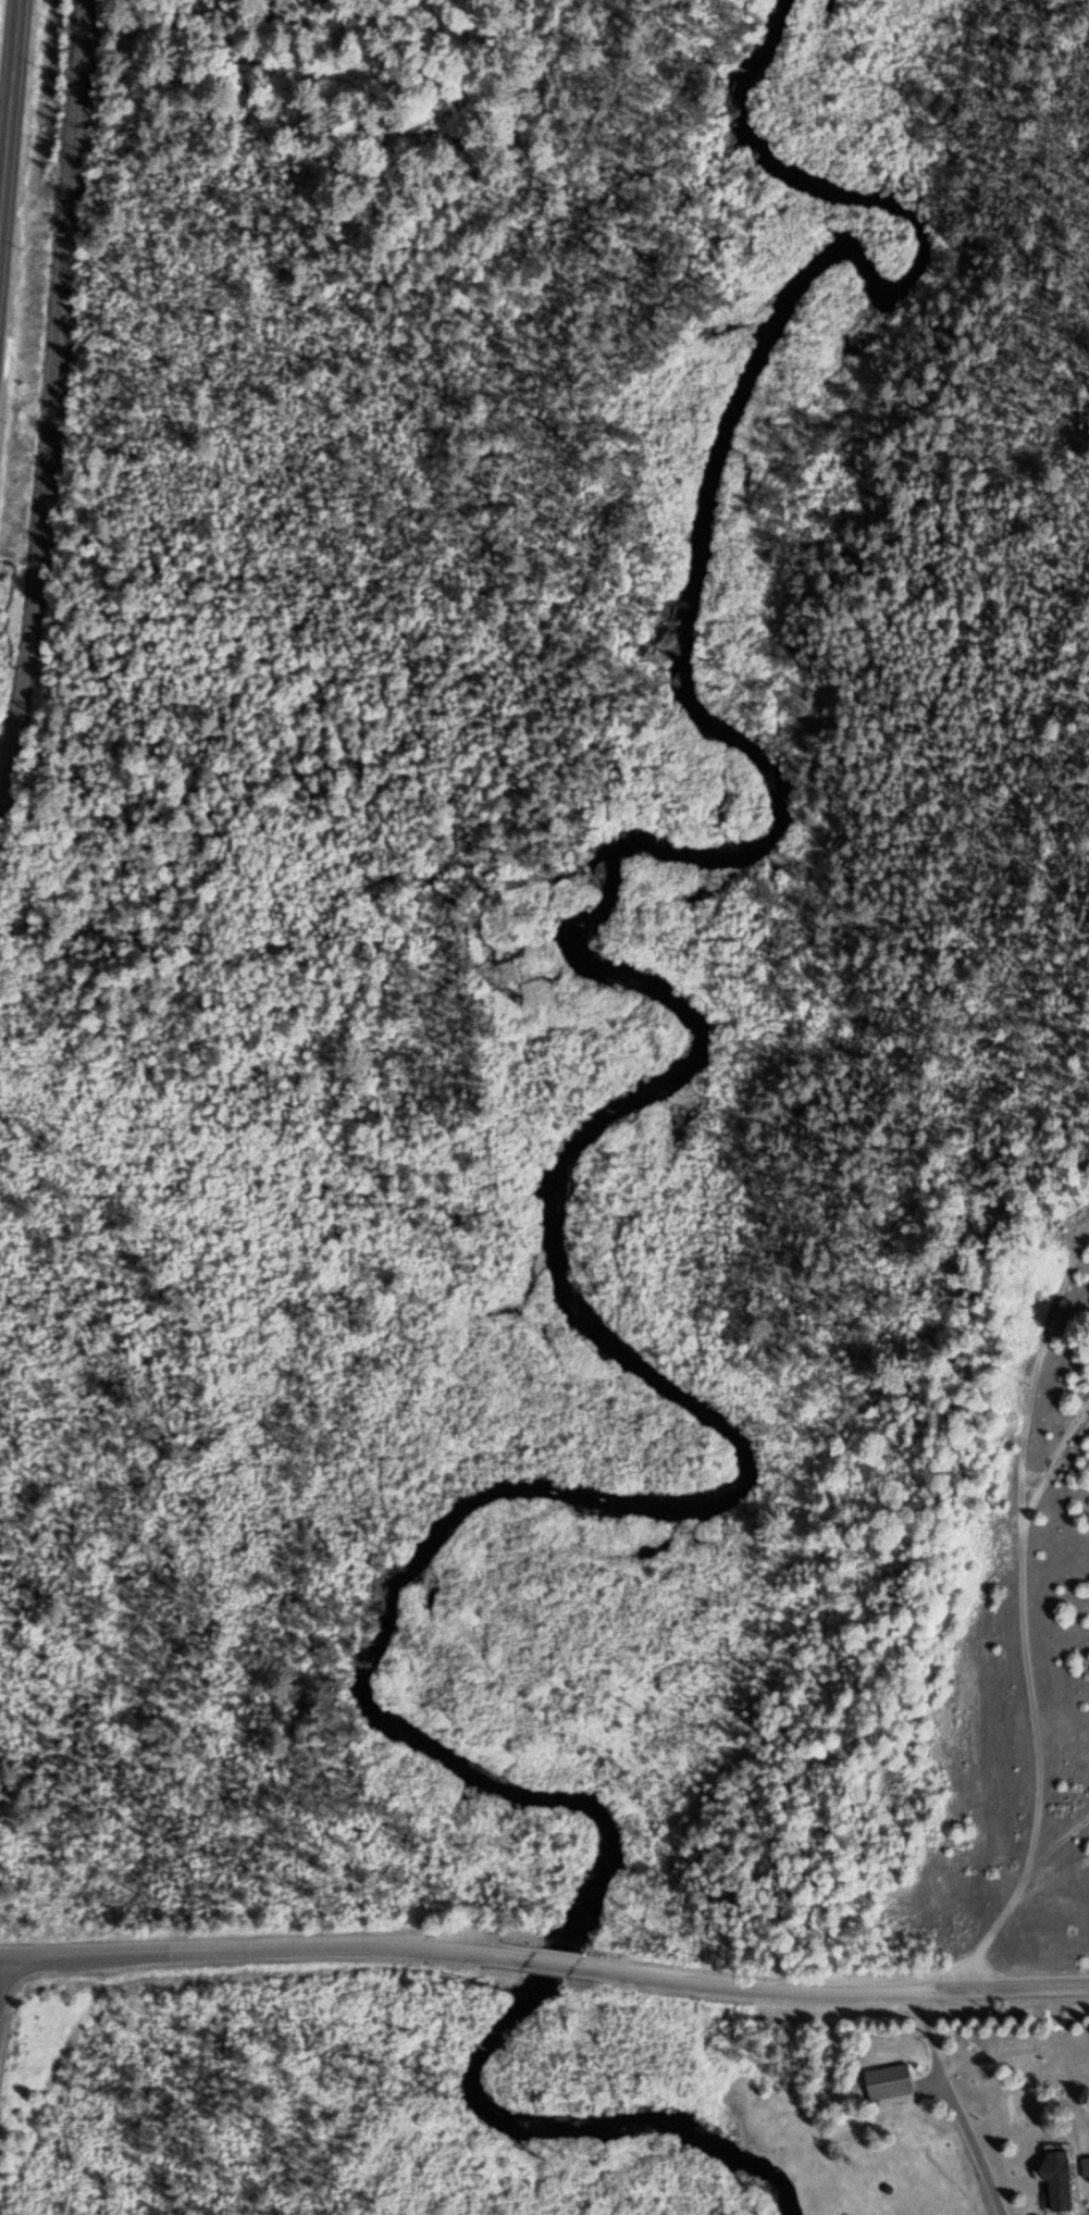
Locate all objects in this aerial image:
road: (9, 115)
railway: (50, 403)
river: (552, 1196)
road: (1019, 1613)
road: (263, 1946)
road: (550, 1958)
road: (752, 1984)
road: (1010, 1984)
road: (929, 2069)
building: (888, 2076)
road: (954, 2103)
building: (1055, 2175)
road: (1062, 2214)

